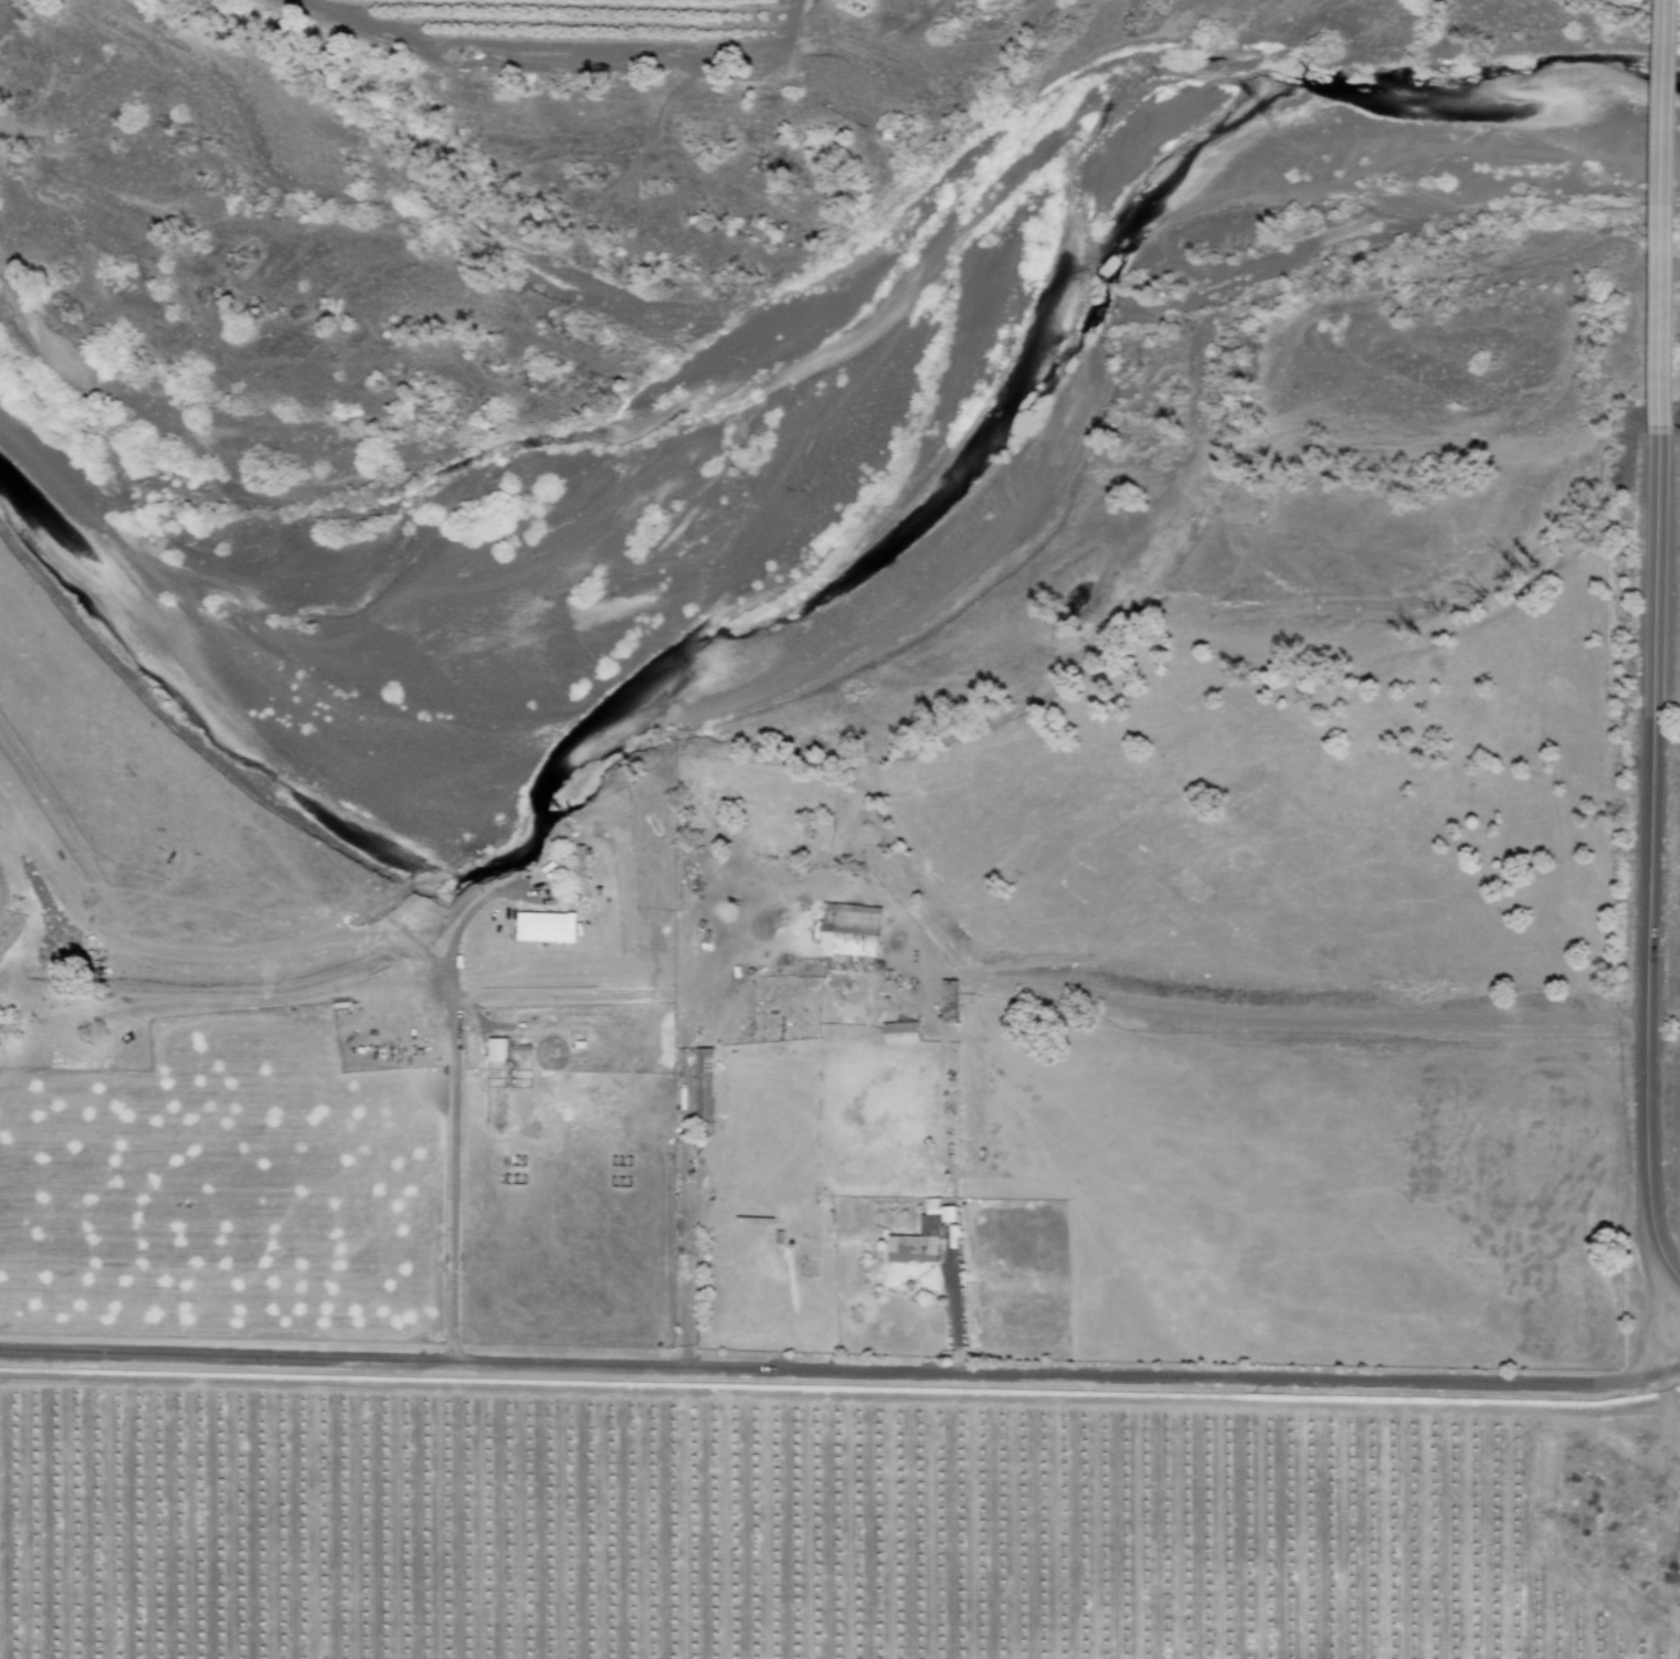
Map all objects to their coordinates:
road: (1660, 216)
river: (826, 584)
road: (1645, 867)
building: (580, 869)
building: (545, 921)
building: (847, 938)
building: (947, 1001)
road: (1167, 1005)
building: (898, 1033)
building: (493, 1049)
building: (516, 1049)
building: (701, 1084)
road: (452, 1103)
building: (938, 1209)
building: (915, 1244)
road: (950, 1292)
road: (841, 1370)

